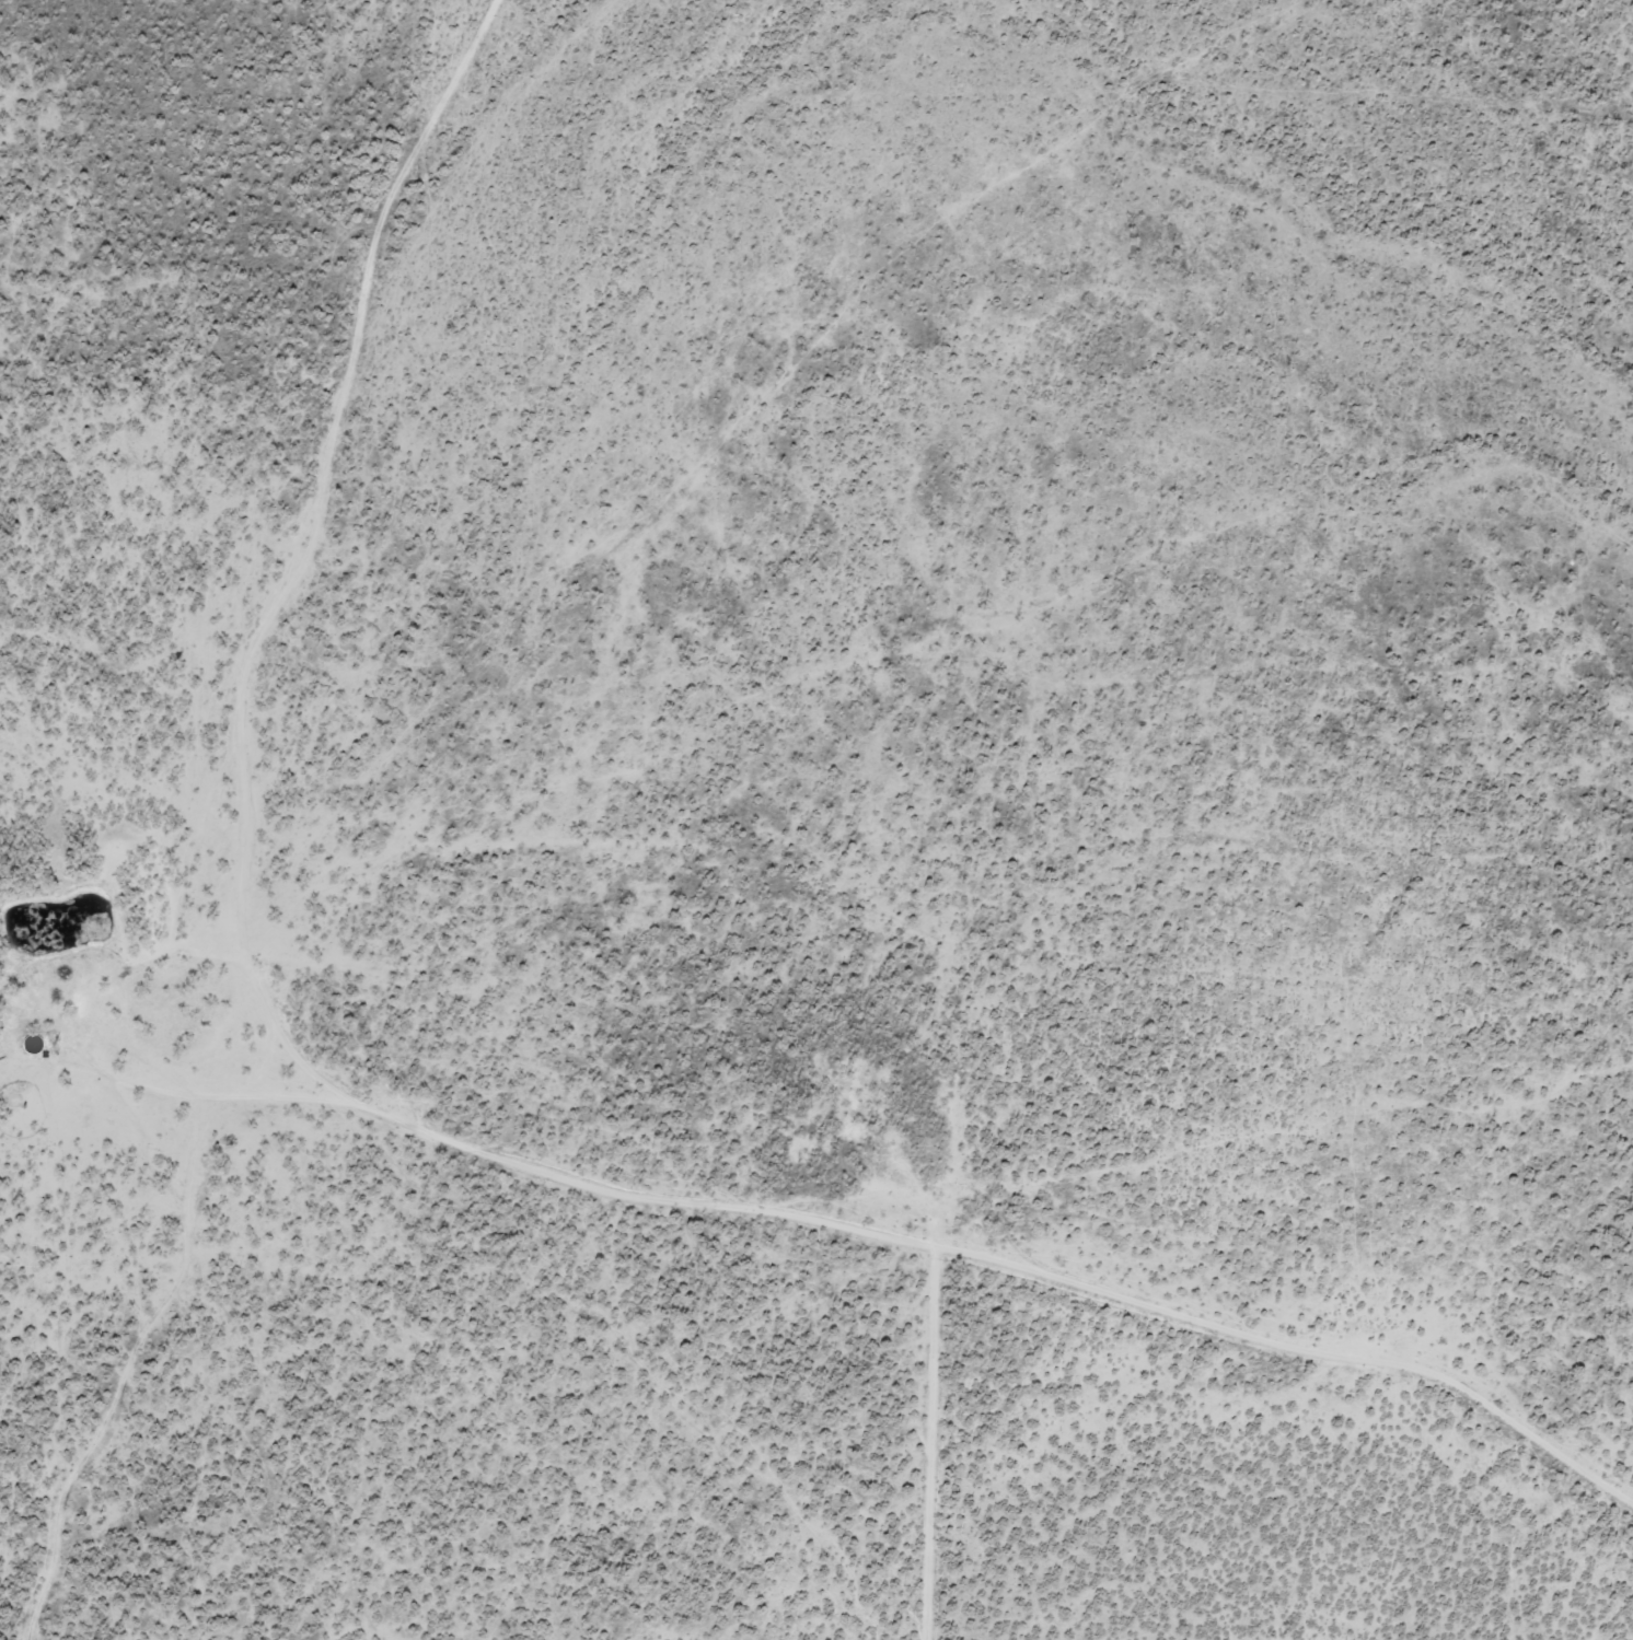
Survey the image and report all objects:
road: (210, 1145)
road: (959, 1398)

